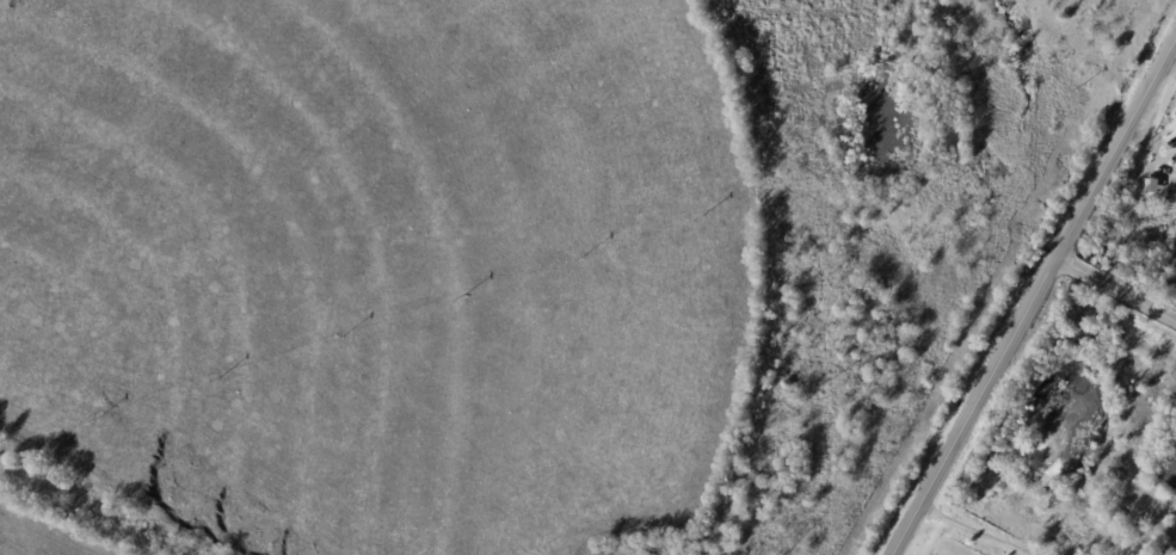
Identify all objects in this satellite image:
road: (1115, 292)
road: (1034, 296)
building: (1170, 475)
building: (1158, 512)
road: (975, 531)

